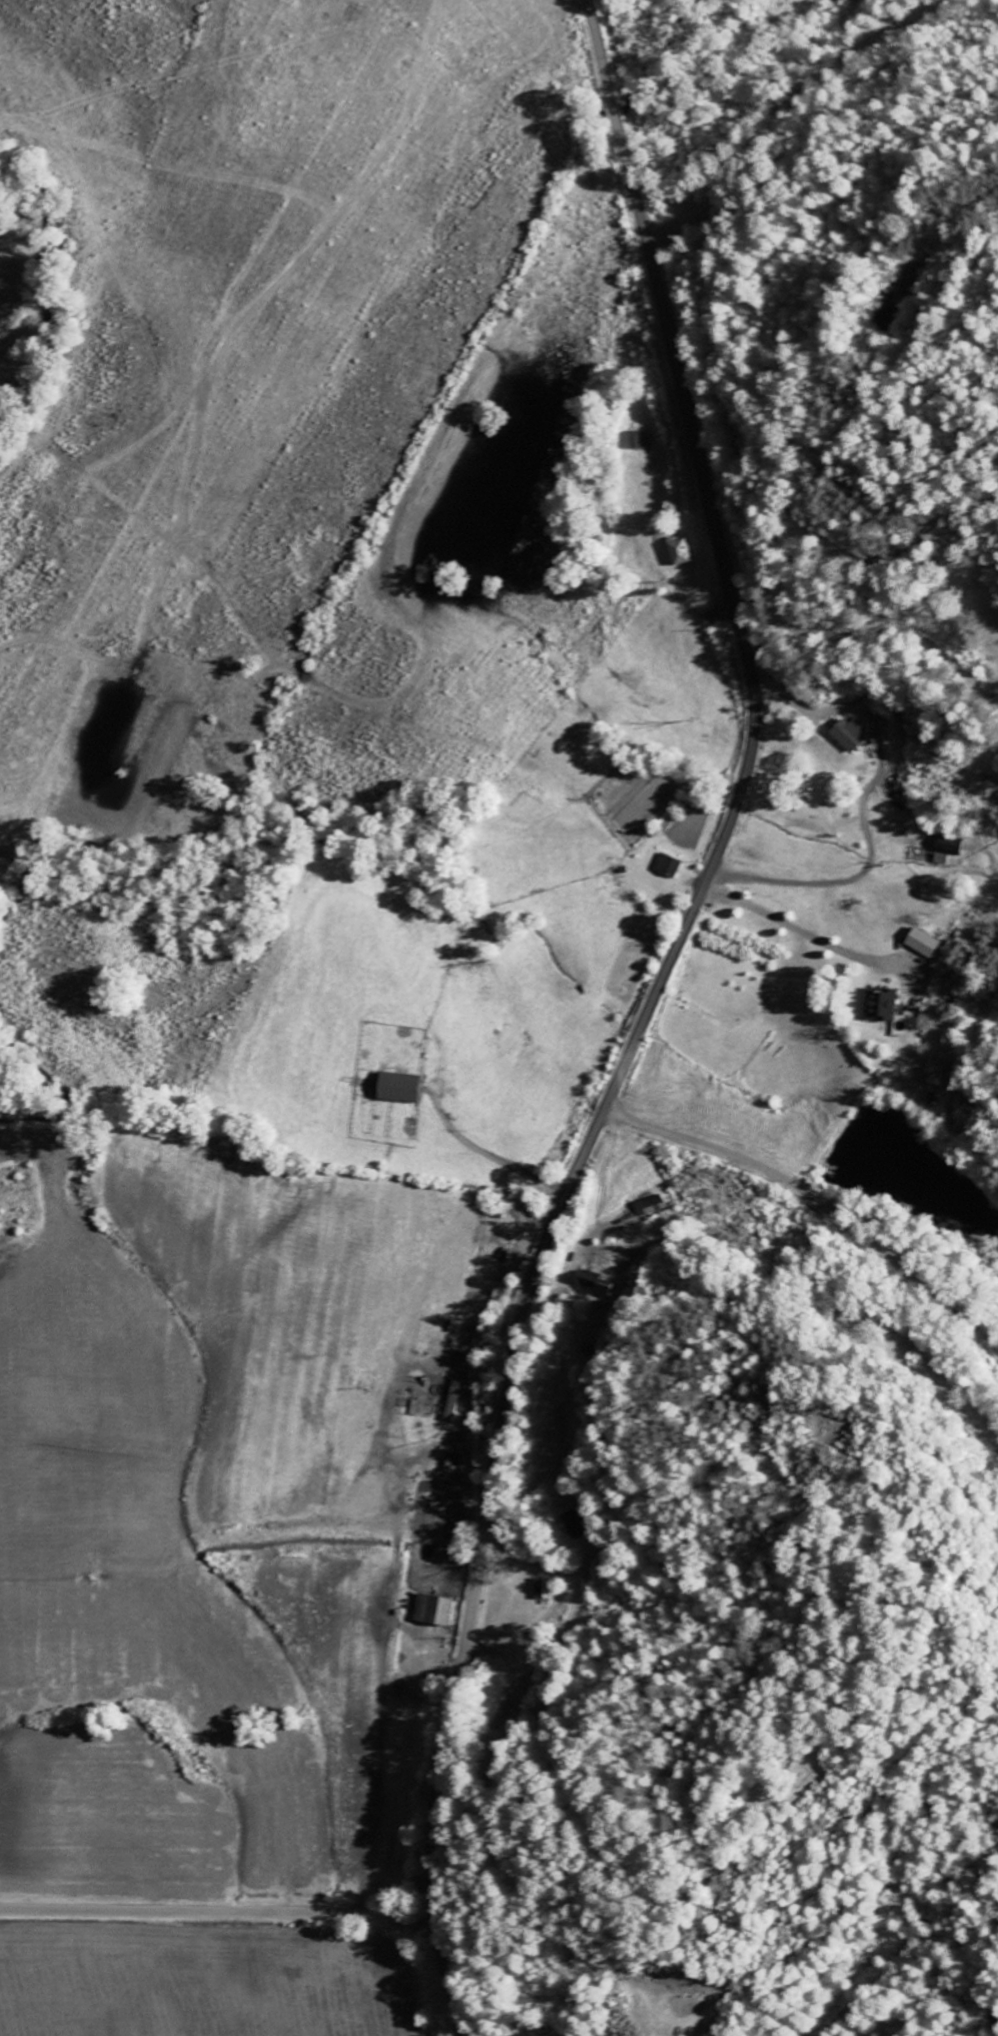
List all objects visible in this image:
road: (785, 106)
building: (685, 552)
building: (857, 734)
building: (671, 865)
building: (925, 943)
road: (643, 1015)
building: (408, 1088)
building: (456, 1398)
building: (453, 1462)
building: (577, 1525)
building: (438, 1609)
road: (217, 1912)

